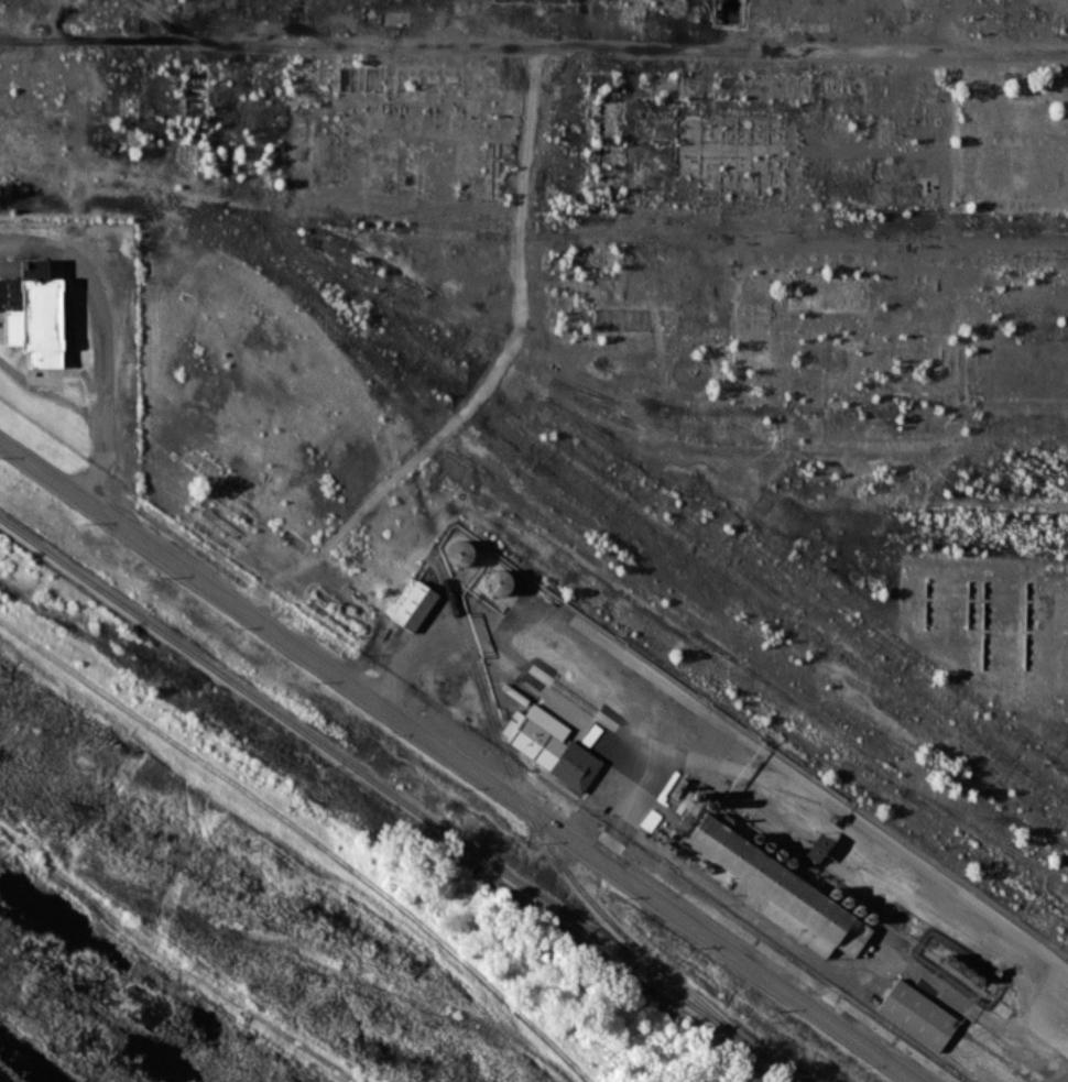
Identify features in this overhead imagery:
building: (33, 314)
road: (102, 378)
building: (414, 605)
building: (549, 745)
road: (456, 761)
railway: (400, 800)
building: (817, 846)
railway: (551, 848)
building: (781, 892)
building: (916, 1014)

